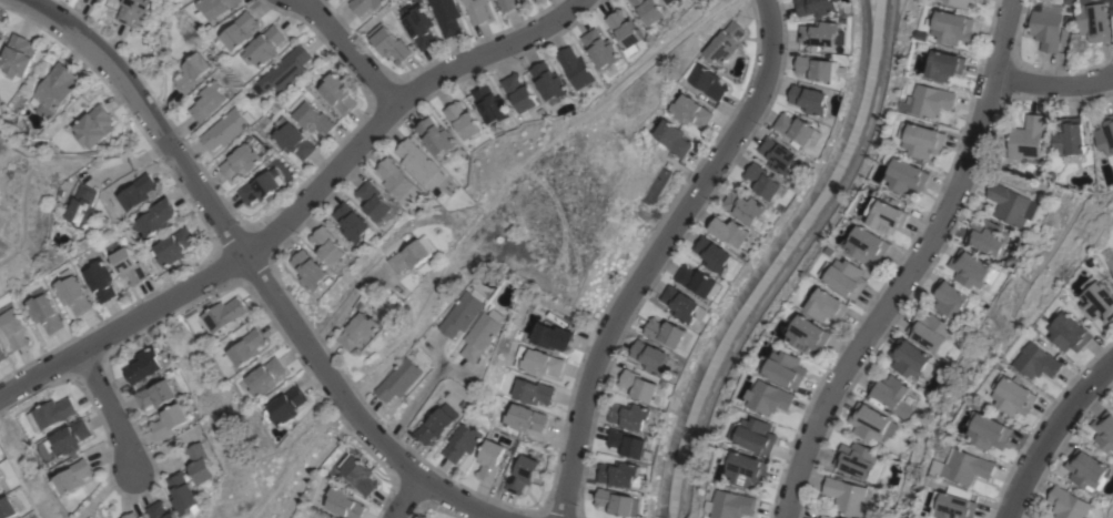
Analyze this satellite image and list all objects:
building: (977, 0)
building: (668, 1)
building: (962, 2)
building: (678, 3)
building: (364, 4)
building: (507, 4)
building: (816, 7)
building: (213, 8)
building: (133, 10)
building: (476, 10)
building: (649, 10)
building: (446, 16)
building: (1095, 19)
building: (418, 24)
building: (952, 26)
building: (1046, 26)
building: (624, 28)
building: (239, 30)
building: (820, 33)
building: (724, 42)
building: (391, 45)
building: (263, 47)
building: (600, 48)
road: (351, 50)
building: (17, 58)
building: (947, 64)
building: (575, 68)
building: (819, 68)
building: (284, 70)
building: (192, 71)
building: (705, 81)
building: (548, 82)
road: (1052, 84)
building: (53, 90)
building: (518, 92)
building: (337, 93)
building: (809, 99)
building: (930, 100)
building: (209, 101)
building: (489, 104)
building: (690, 111)
building: (310, 116)
building: (463, 120)
building: (94, 125)
building: (226, 128)
building: (798, 129)
building: (436, 135)
building: (1069, 135)
building: (1105, 135)
building: (671, 138)
building: (922, 140)
building: (1026, 140)
building: (293, 141)
building: (779, 155)
building: (241, 161)
building: (421, 163)
power tower: (545, 176)
building: (907, 176)
building: (396, 179)
building: (765, 181)
building: (259, 187)
building: (138, 191)
building: (374, 201)
building: (1008, 204)
road: (296, 206)
building: (81, 207)
building: (746, 207)
building: (886, 215)
building: (158, 216)
building: (352, 222)
building: (731, 231)
building: (986, 236)
building: (868, 244)
building: (173, 246)
building: (328, 246)
road: (657, 252)
building: (413, 254)
building: (716, 255)
building: (1111, 262)
road: (254, 263)
building: (128, 265)
road: (911, 265)
building: (969, 267)
building: (311, 270)
building: (846, 276)
building: (697, 280)
building: (100, 281)
building: (72, 294)
building: (949, 297)
building: (1099, 298)
road: (344, 302)
building: (681, 304)
building: (827, 305)
building: (44, 313)
building: (222, 314)
building: (461, 314)
building: (14, 328)
building: (357, 331)
building: (666, 331)
building: (929, 331)
building: (1071, 333)
building: (482, 334)
building: (809, 334)
building: (550, 336)
building: (246, 347)
building: (2, 355)
building: (651, 356)
building: (908, 357)
building: (1040, 359)
building: (537, 362)
building: (148, 364)
building: (786, 368)
power tower: (358, 370)
building: (264, 376)
building: (397, 379)
building: (638, 385)
building: (533, 392)
building: (156, 394)
building: (891, 394)
building: (1014, 395)
building: (770, 397)
road: (411, 403)
building: (284, 406)
road: (111, 410)
building: (51, 412)
building: (635, 416)
building: (525, 418)
building: (171, 420)
building: (871, 423)
building: (434, 426)
building: (1104, 430)
building: (989, 431)
building: (757, 435)
road: (1052, 437)
building: (67, 438)
building: (462, 443)
building: (627, 443)
building: (489, 459)
building: (854, 459)
building: (203, 463)
road: (312, 463)
building: (963, 466)
building: (748, 469)
building: (1086, 470)
building: (523, 474)
building: (620, 474)
building: (357, 475)
building: (72, 476)
building: (0, 479)
building: (0, 481)
building: (1, 489)
building: (185, 495)
building: (849, 496)
road: (402, 499)
building: (340, 501)
building: (617, 502)
building: (954, 504)
building: (1066, 504)
building: (730, 505)
building: (11, 506)
building: (161, 510)
building: (130, 515)
building: (824, 515)

